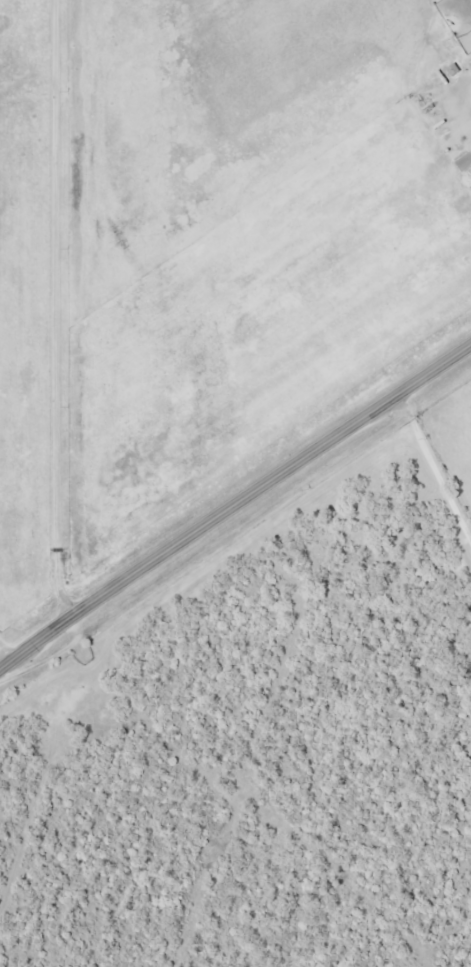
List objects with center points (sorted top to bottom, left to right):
road: (57, 307)
road: (433, 469)
road: (234, 505)
road: (5, 654)

